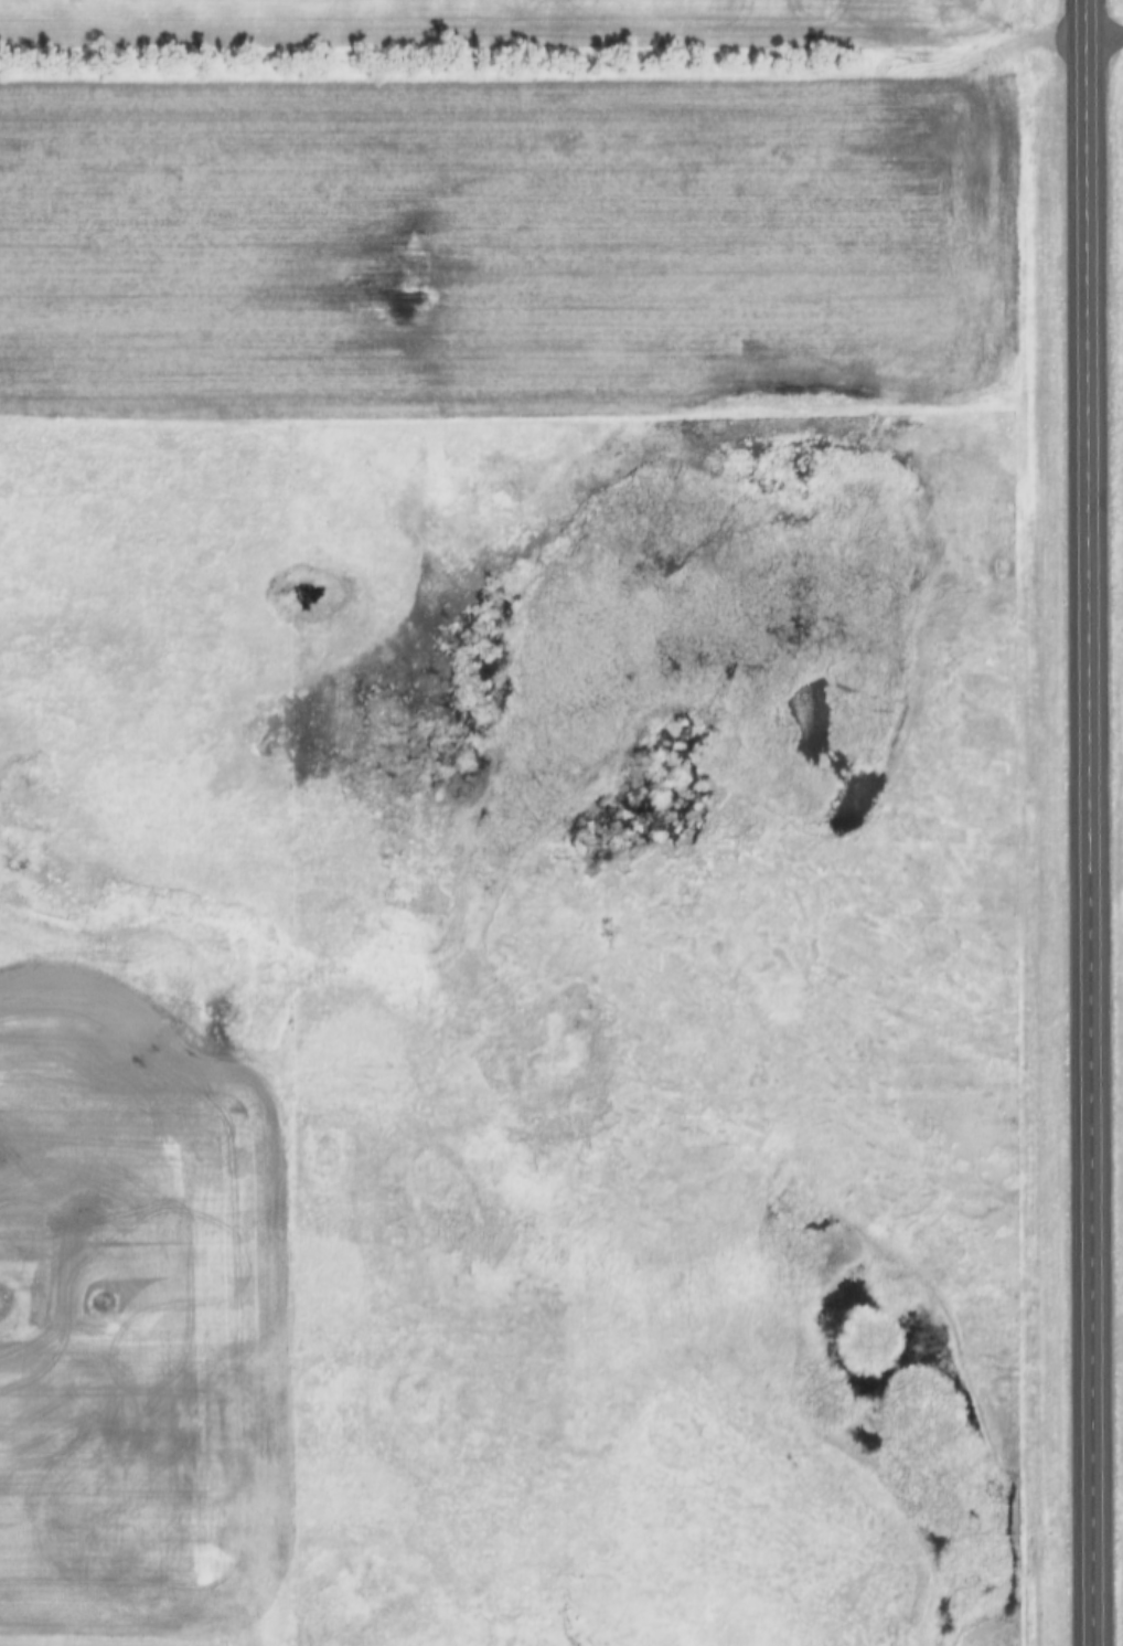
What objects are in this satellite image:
road: (1106, 822)

